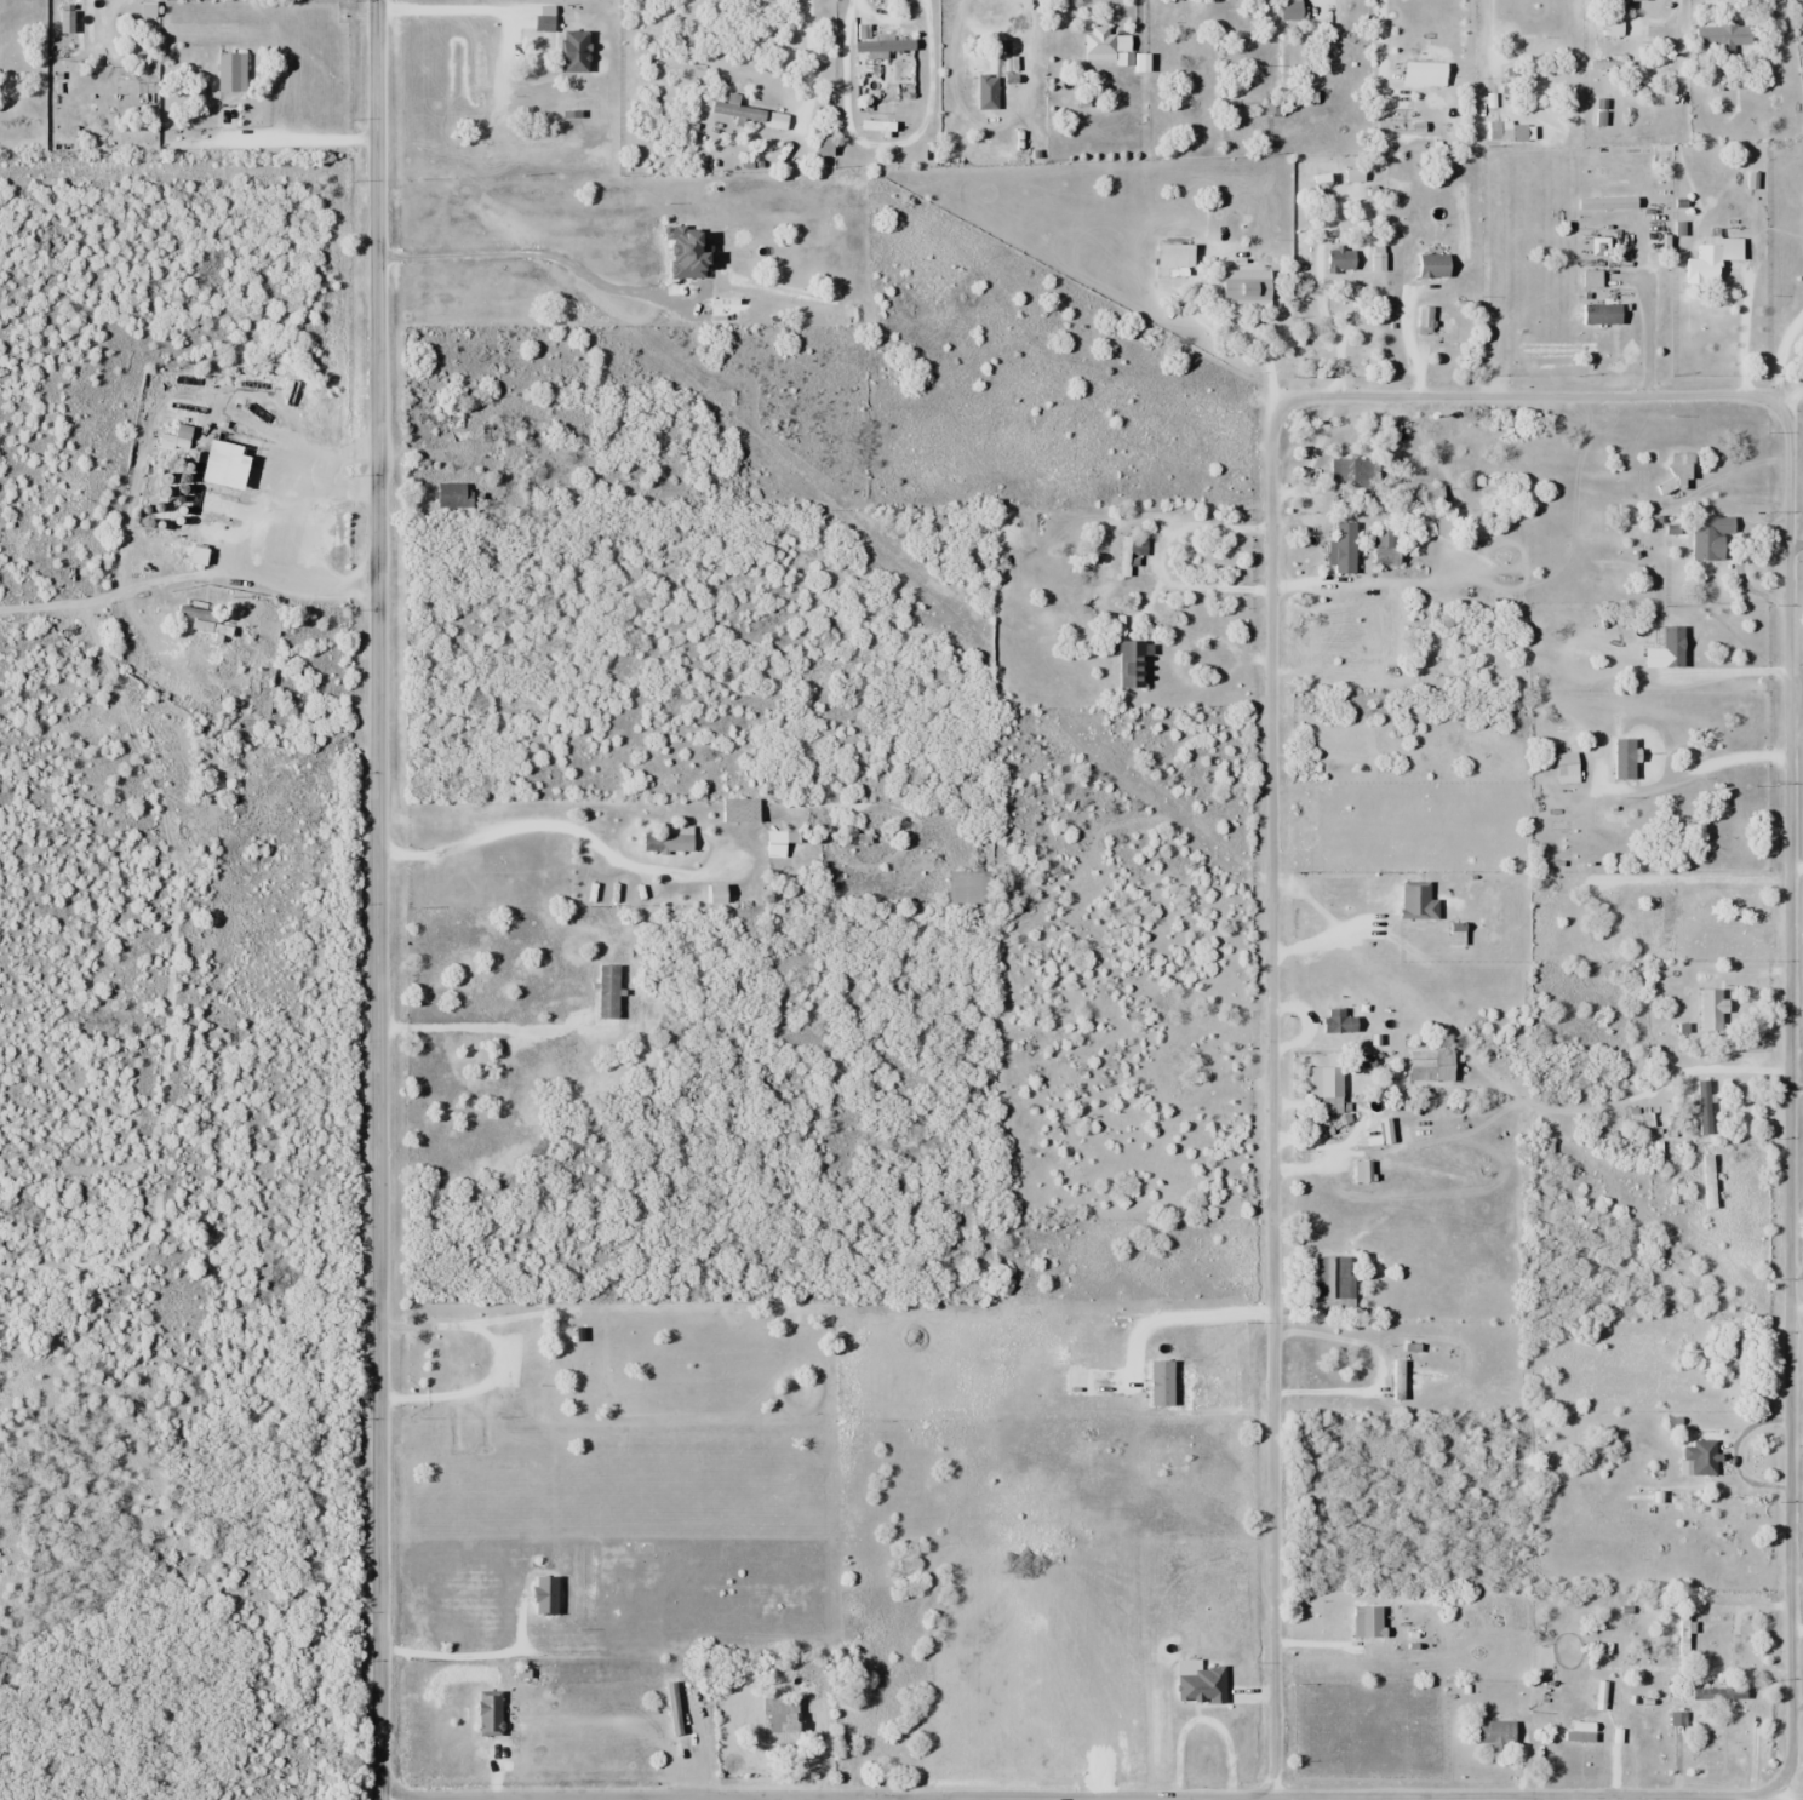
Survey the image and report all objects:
building: (1293, 10)
building: (1724, 36)
building: (882, 41)
building: (1104, 45)
building: (577, 51)
building: (990, 64)
building: (233, 71)
building: (537, 90)
building: (751, 105)
building: (1512, 131)
road: (1369, 214)
building: (1175, 254)
building: (1713, 258)
building: (1435, 266)
building: (1248, 288)
building: (1602, 314)
road: (1746, 317)
road: (1650, 321)
road: (1785, 356)
road: (1528, 396)
road: (1791, 397)
building: (493, 432)
building: (1352, 472)
building: (234, 477)
building: (456, 495)
building: (1433, 497)
building: (1711, 535)
road: (1796, 537)
building: (1387, 545)
building: (1346, 546)
building: (1131, 555)
building: (211, 627)
building: (1133, 664)
building: (742, 810)
building: (780, 843)
road: (1796, 860)
building: (971, 887)
building: (1343, 890)
road: (378, 900)
building: (1711, 1010)
building: (1432, 1066)
road: (1796, 1083)
building: (1329, 1088)
building: (1705, 1107)
building: (1641, 1118)
building: (1334, 1277)
building: (1741, 1355)
building: (1400, 1381)
building: (1699, 1458)
building: (797, 1701)
building: (492, 1714)
building: (1496, 1732)
building: (1587, 1737)
road: (1078, 1796)
road: (1210, 1798)
road: (1746, 1798)
road: (895, 1799)

